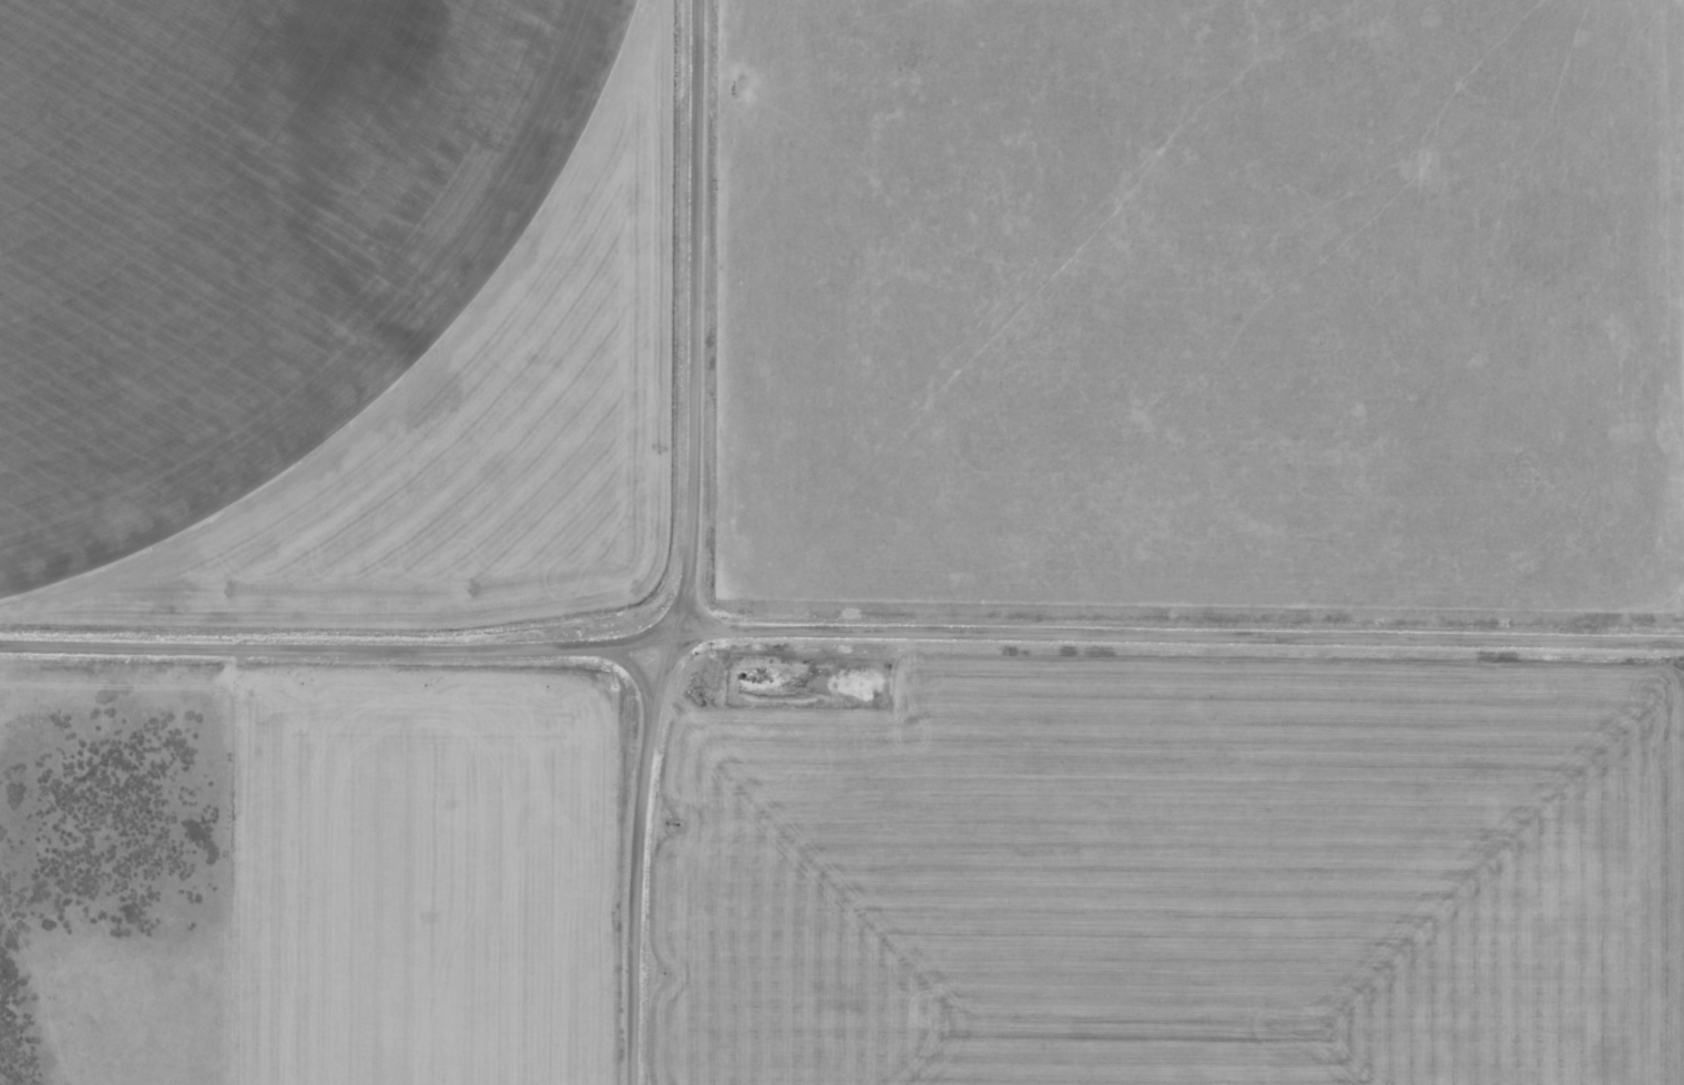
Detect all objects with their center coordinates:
road: (691, 544)
road: (1178, 637)
road: (337, 648)

